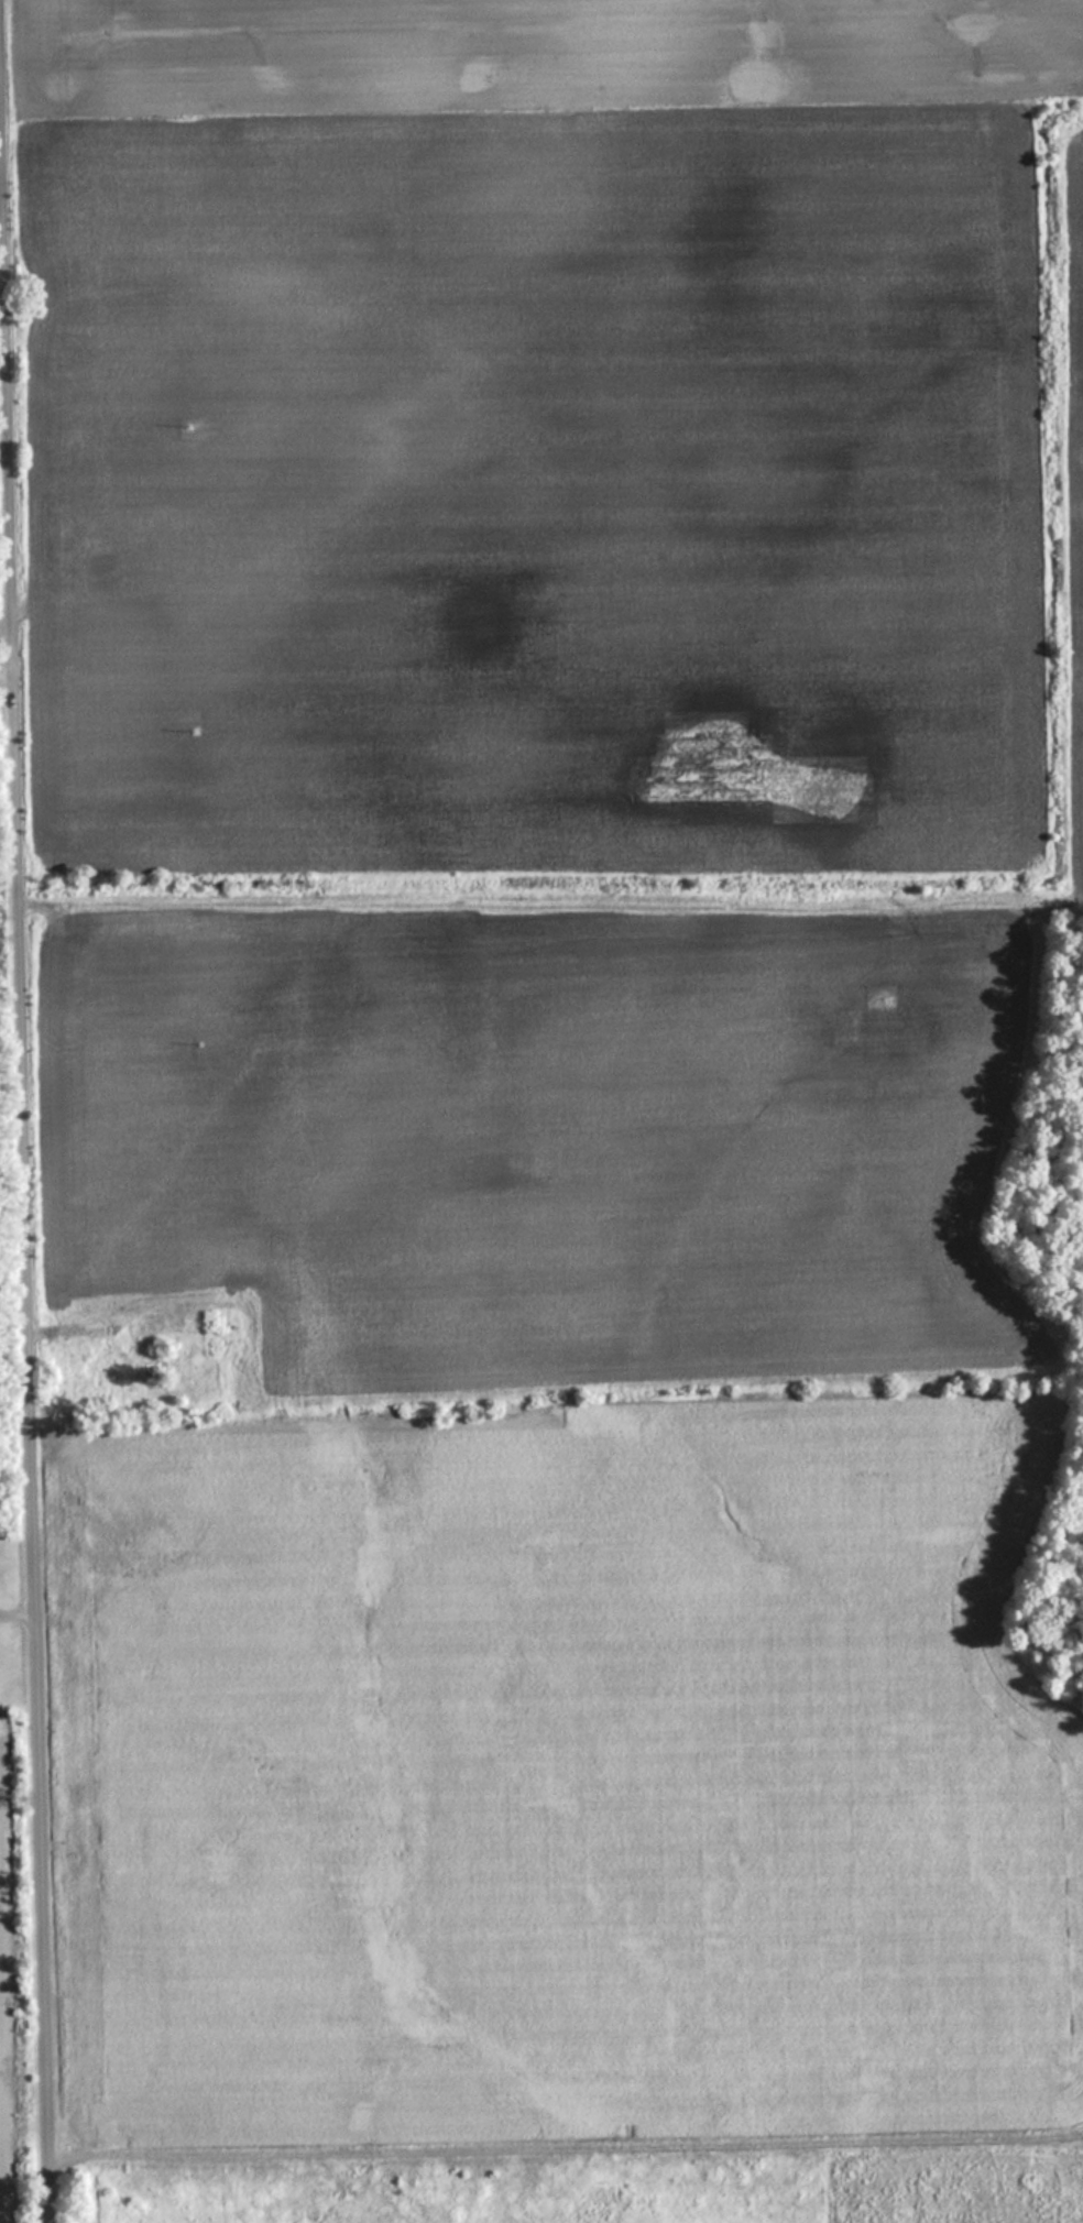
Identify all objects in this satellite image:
road: (24, 1115)

